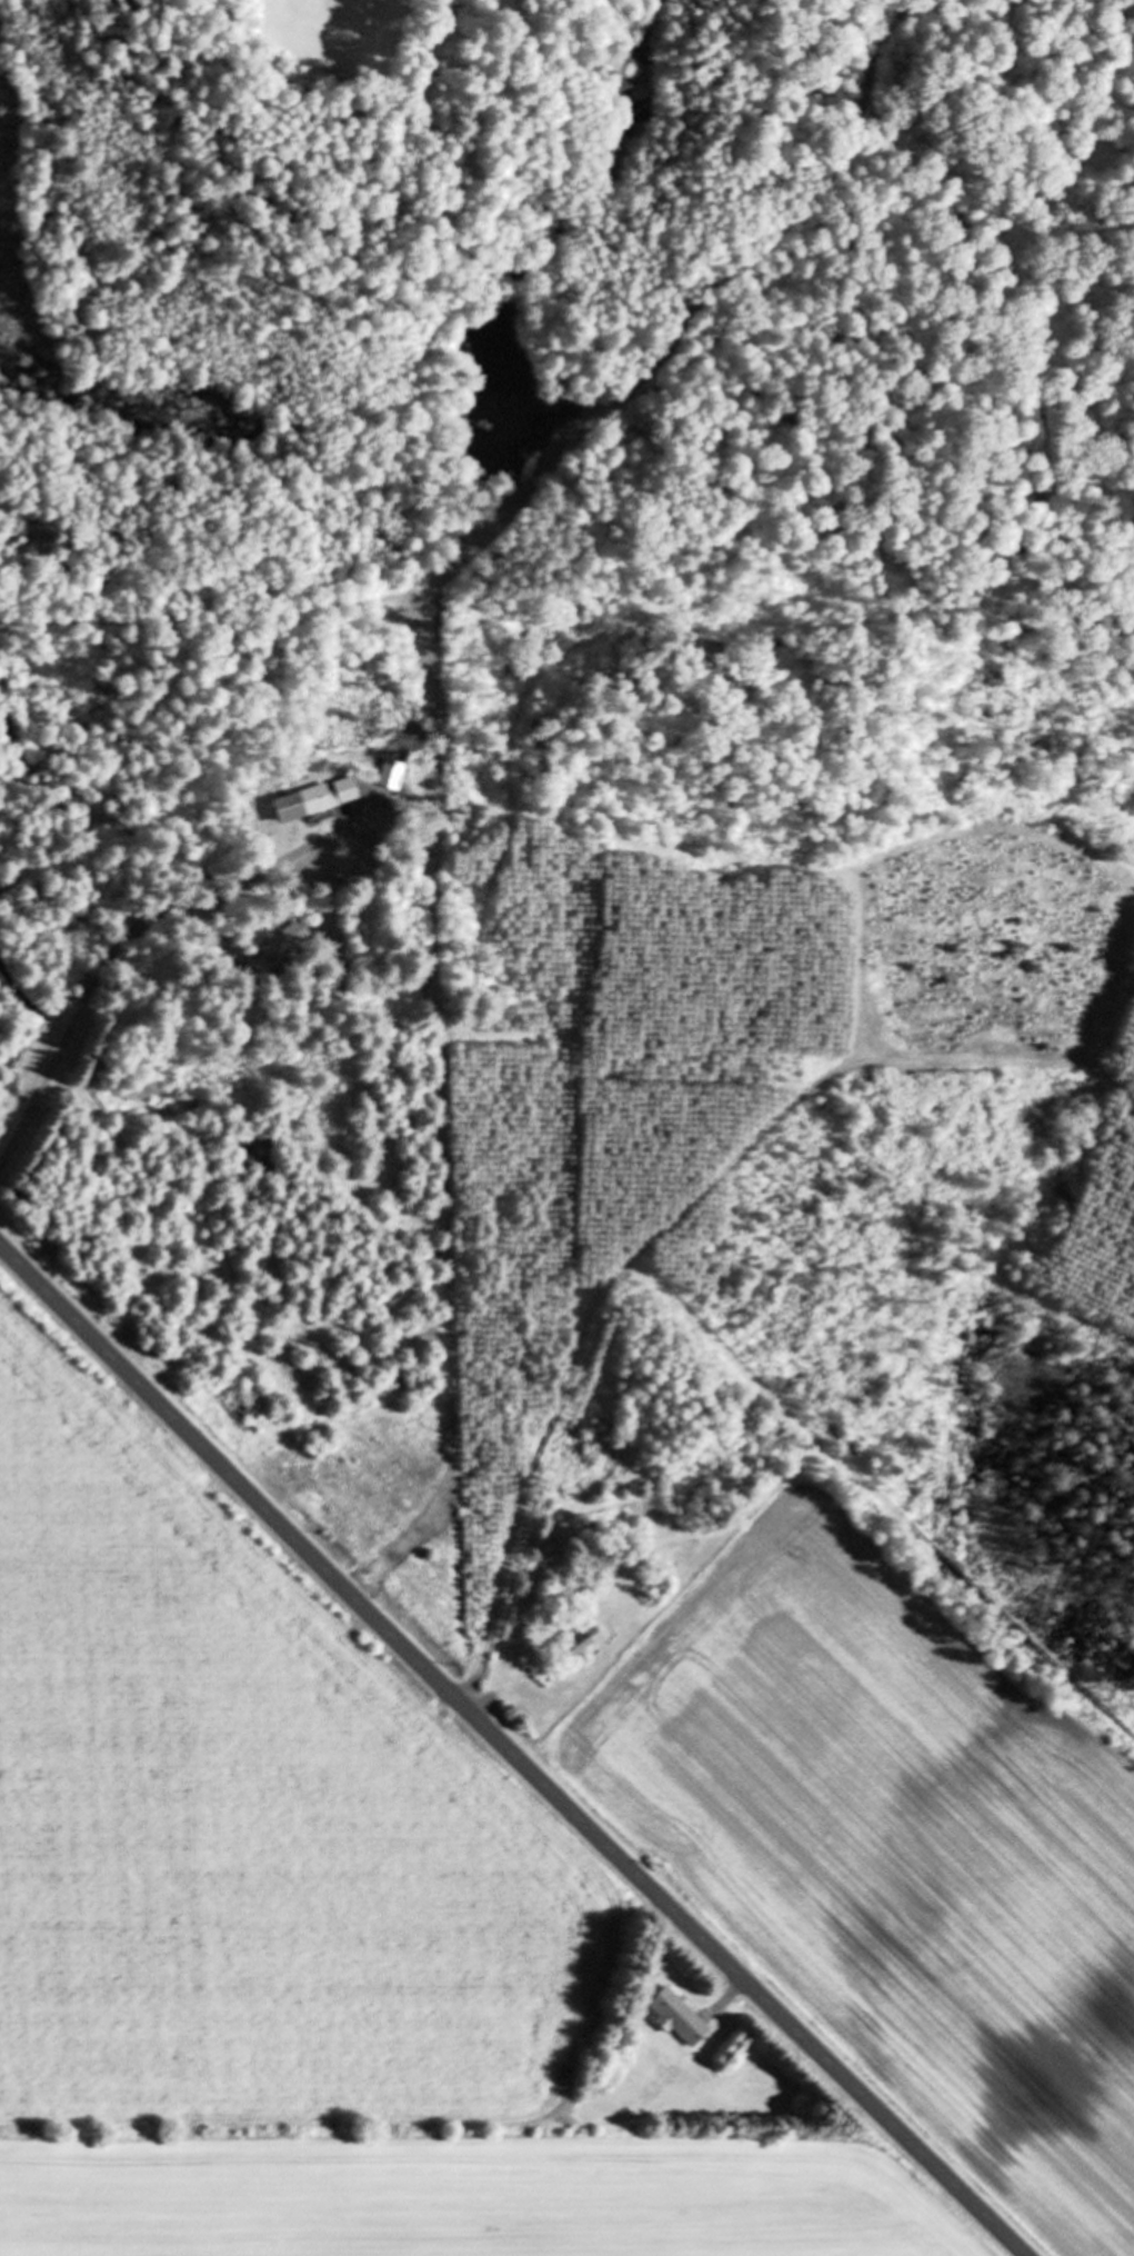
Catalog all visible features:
road: (114, 944)
road: (510, 1753)
road: (727, 1990)
building: (682, 2018)

